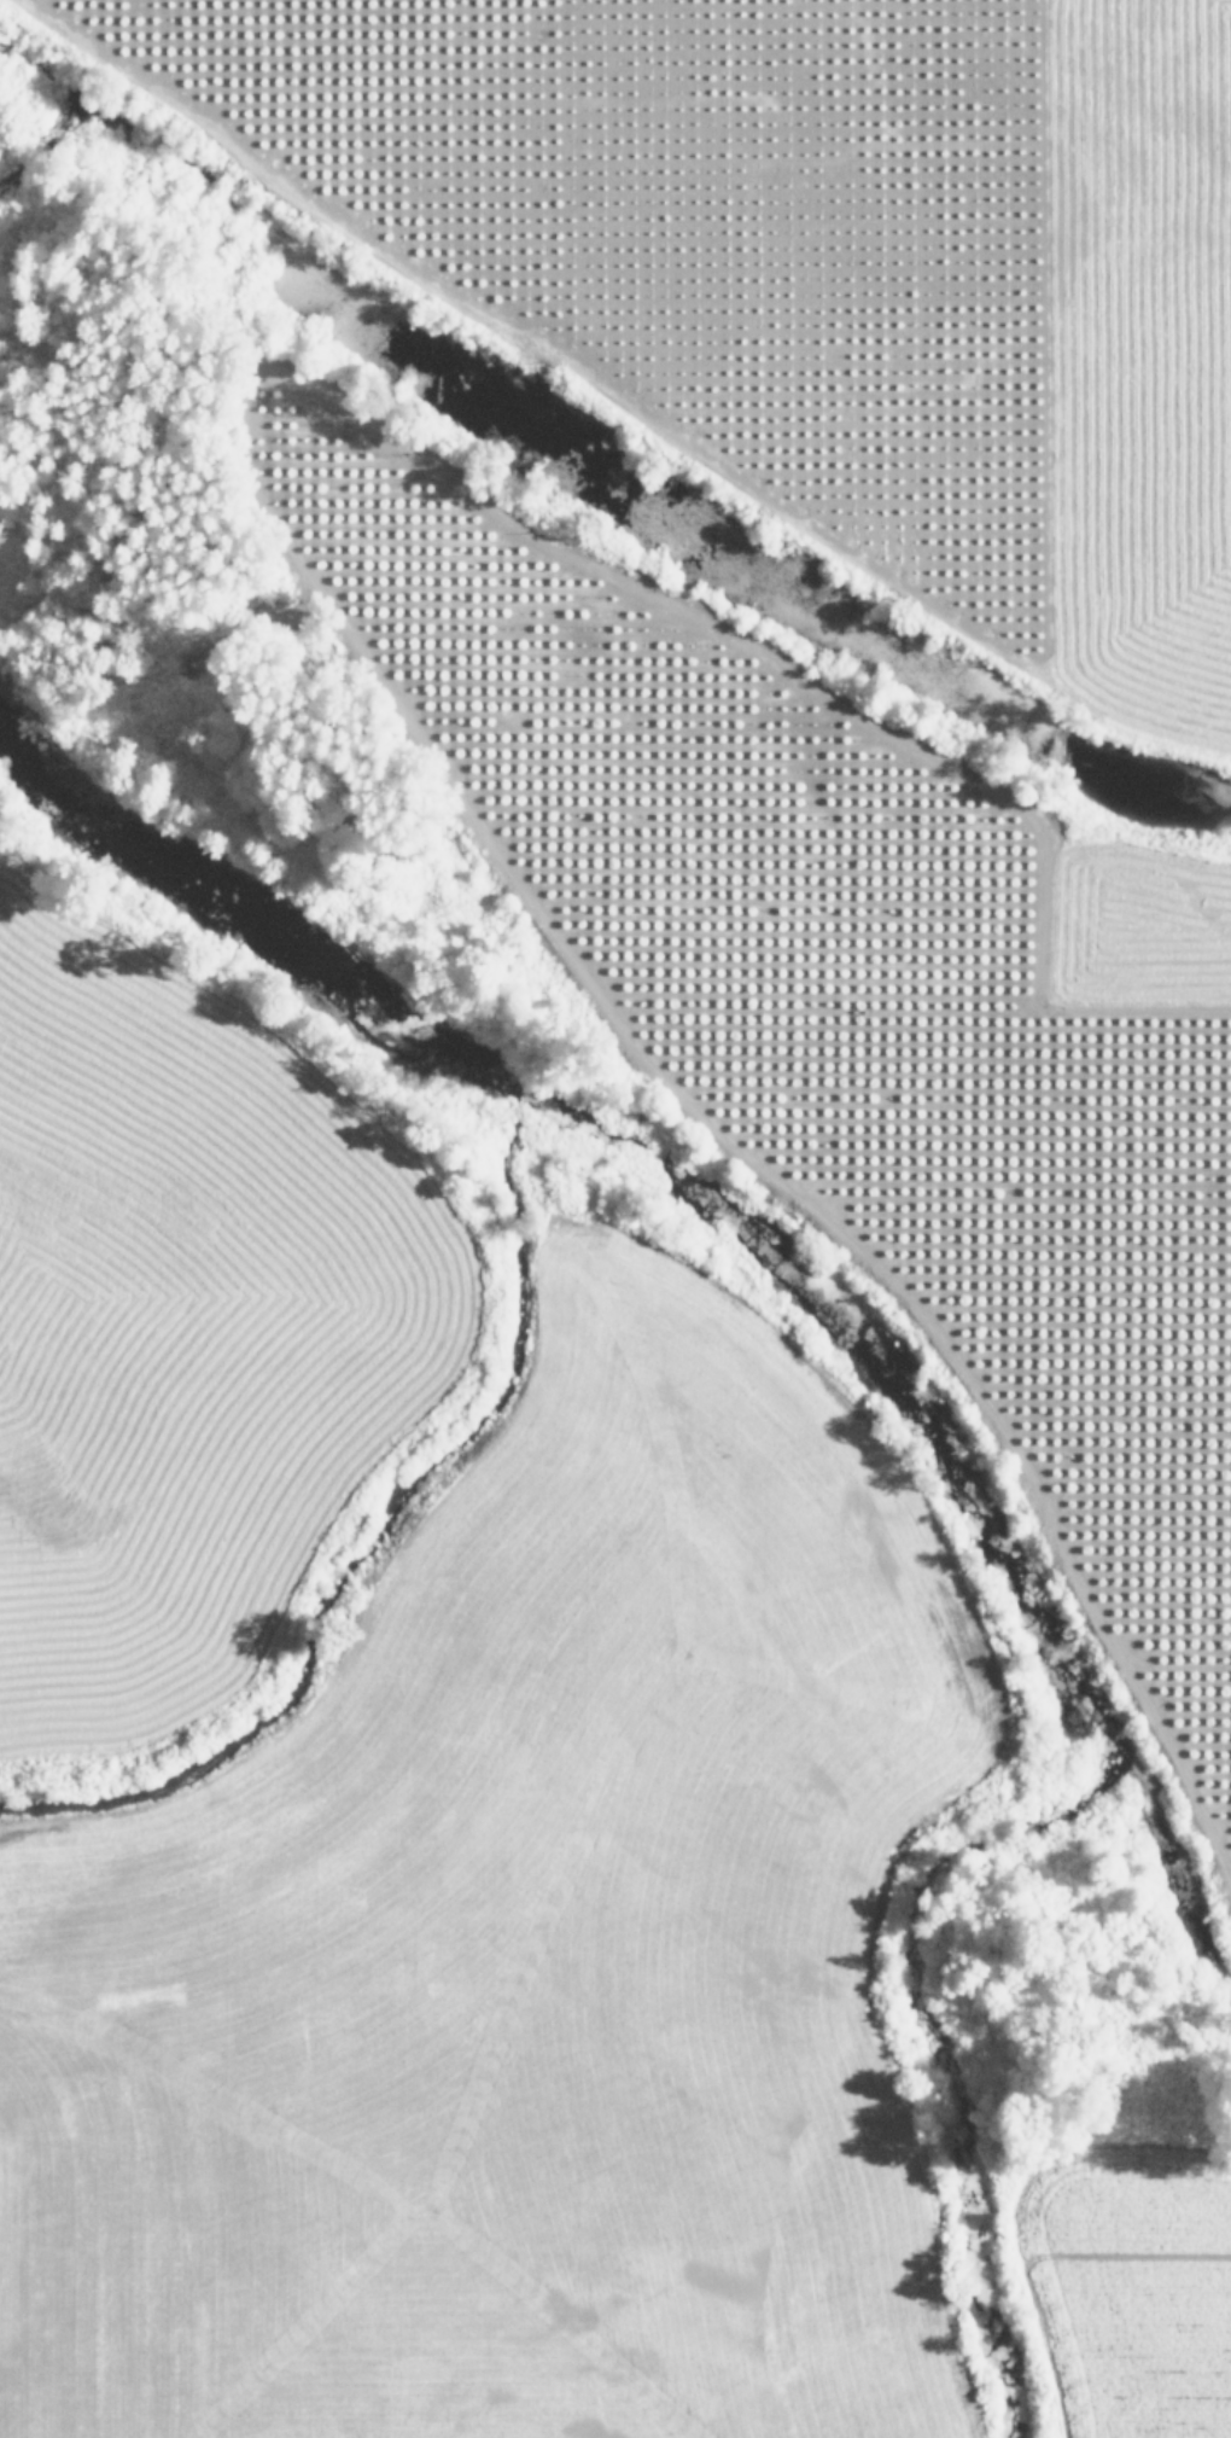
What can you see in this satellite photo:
crop: (819, 277)
crop: (854, 1011)
crop: (421, 1793)
crop: (1138, 2303)

